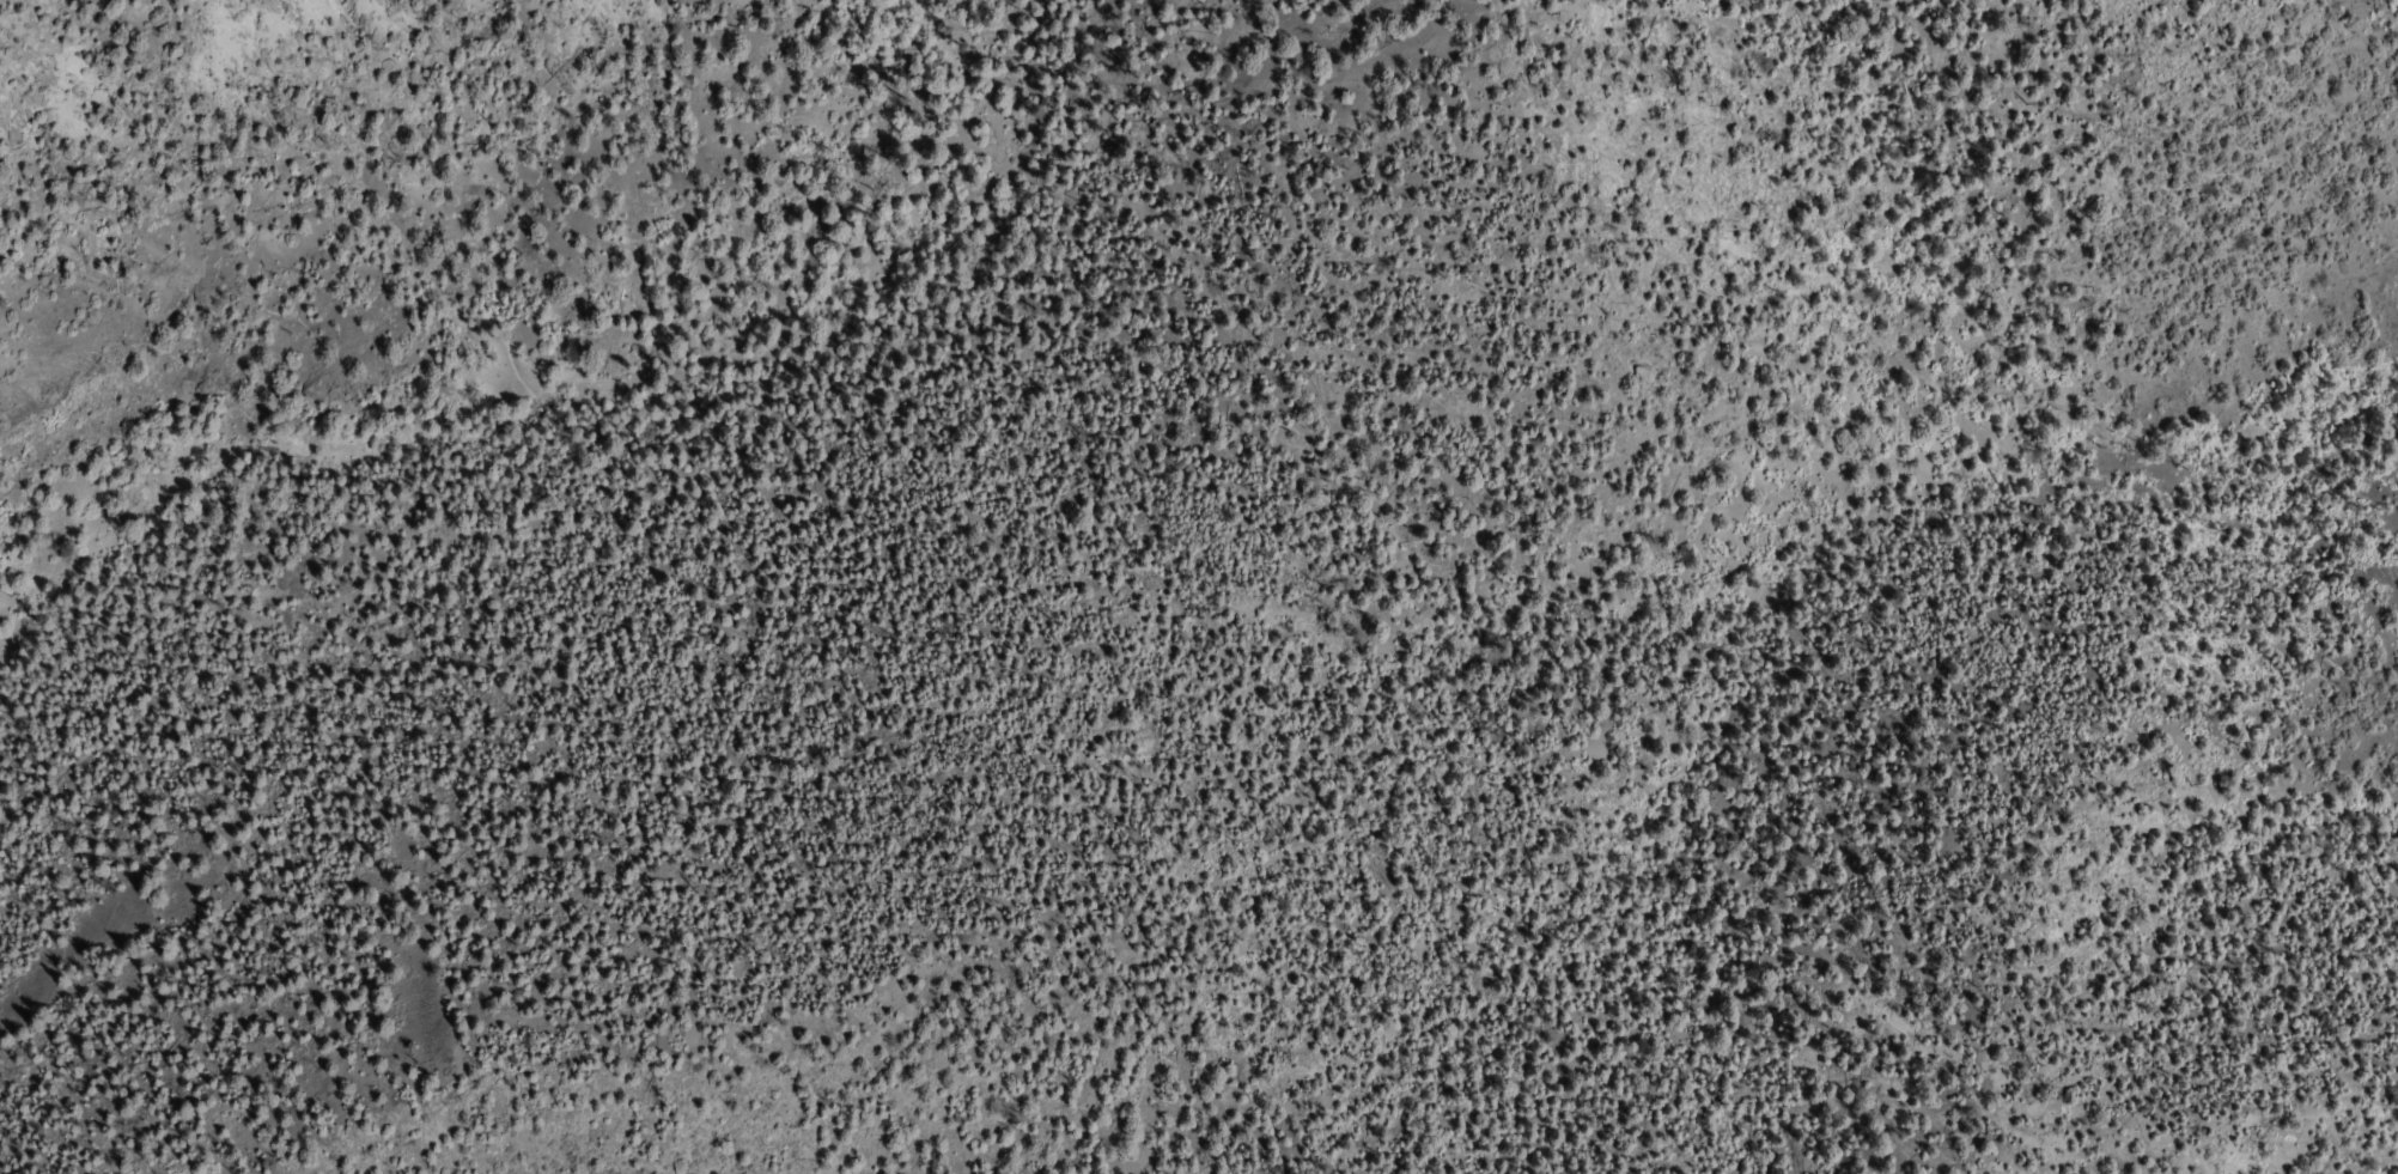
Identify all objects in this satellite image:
road: (658, 485)

